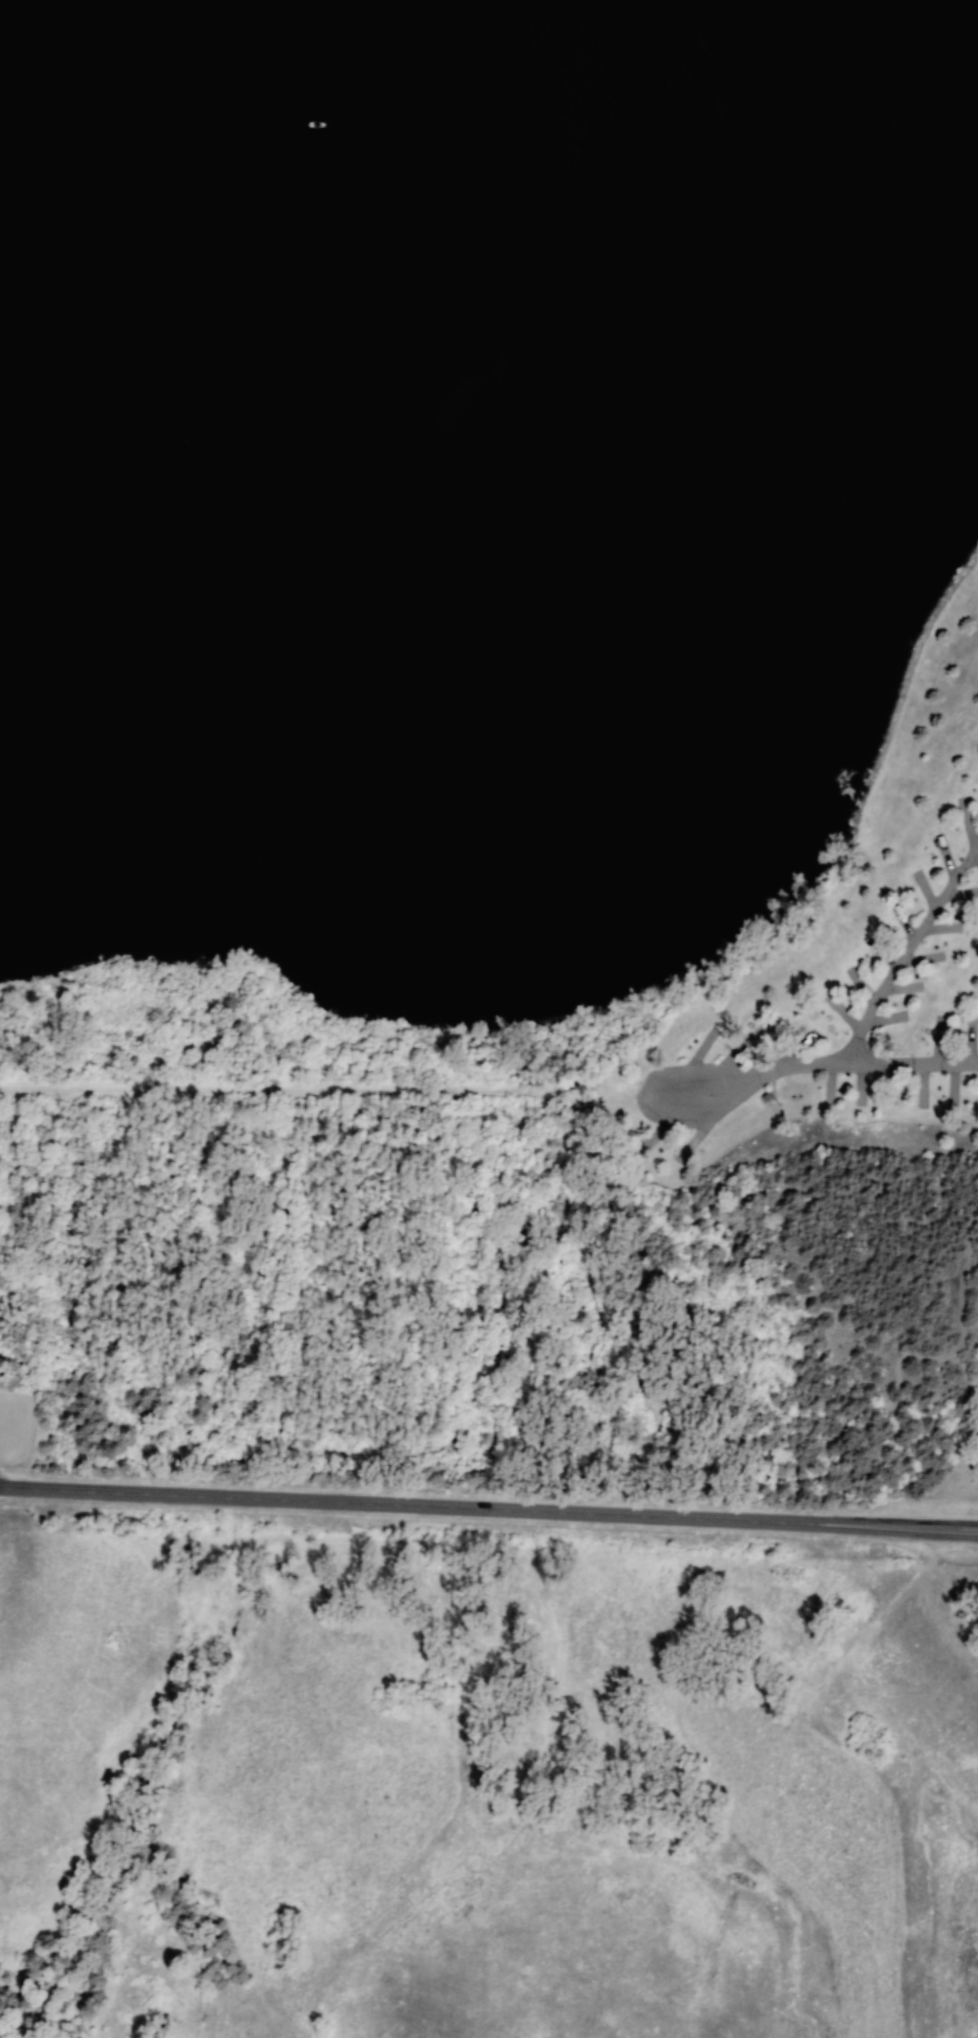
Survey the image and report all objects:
park: (491, 751)
road: (869, 1004)
road: (661, 1075)
road: (324, 1090)
road: (279, 1264)
road: (495, 1268)
road: (689, 1296)
road: (2, 1353)
parking lot: (17, 1426)
road: (562, 1447)
road: (489, 1502)

